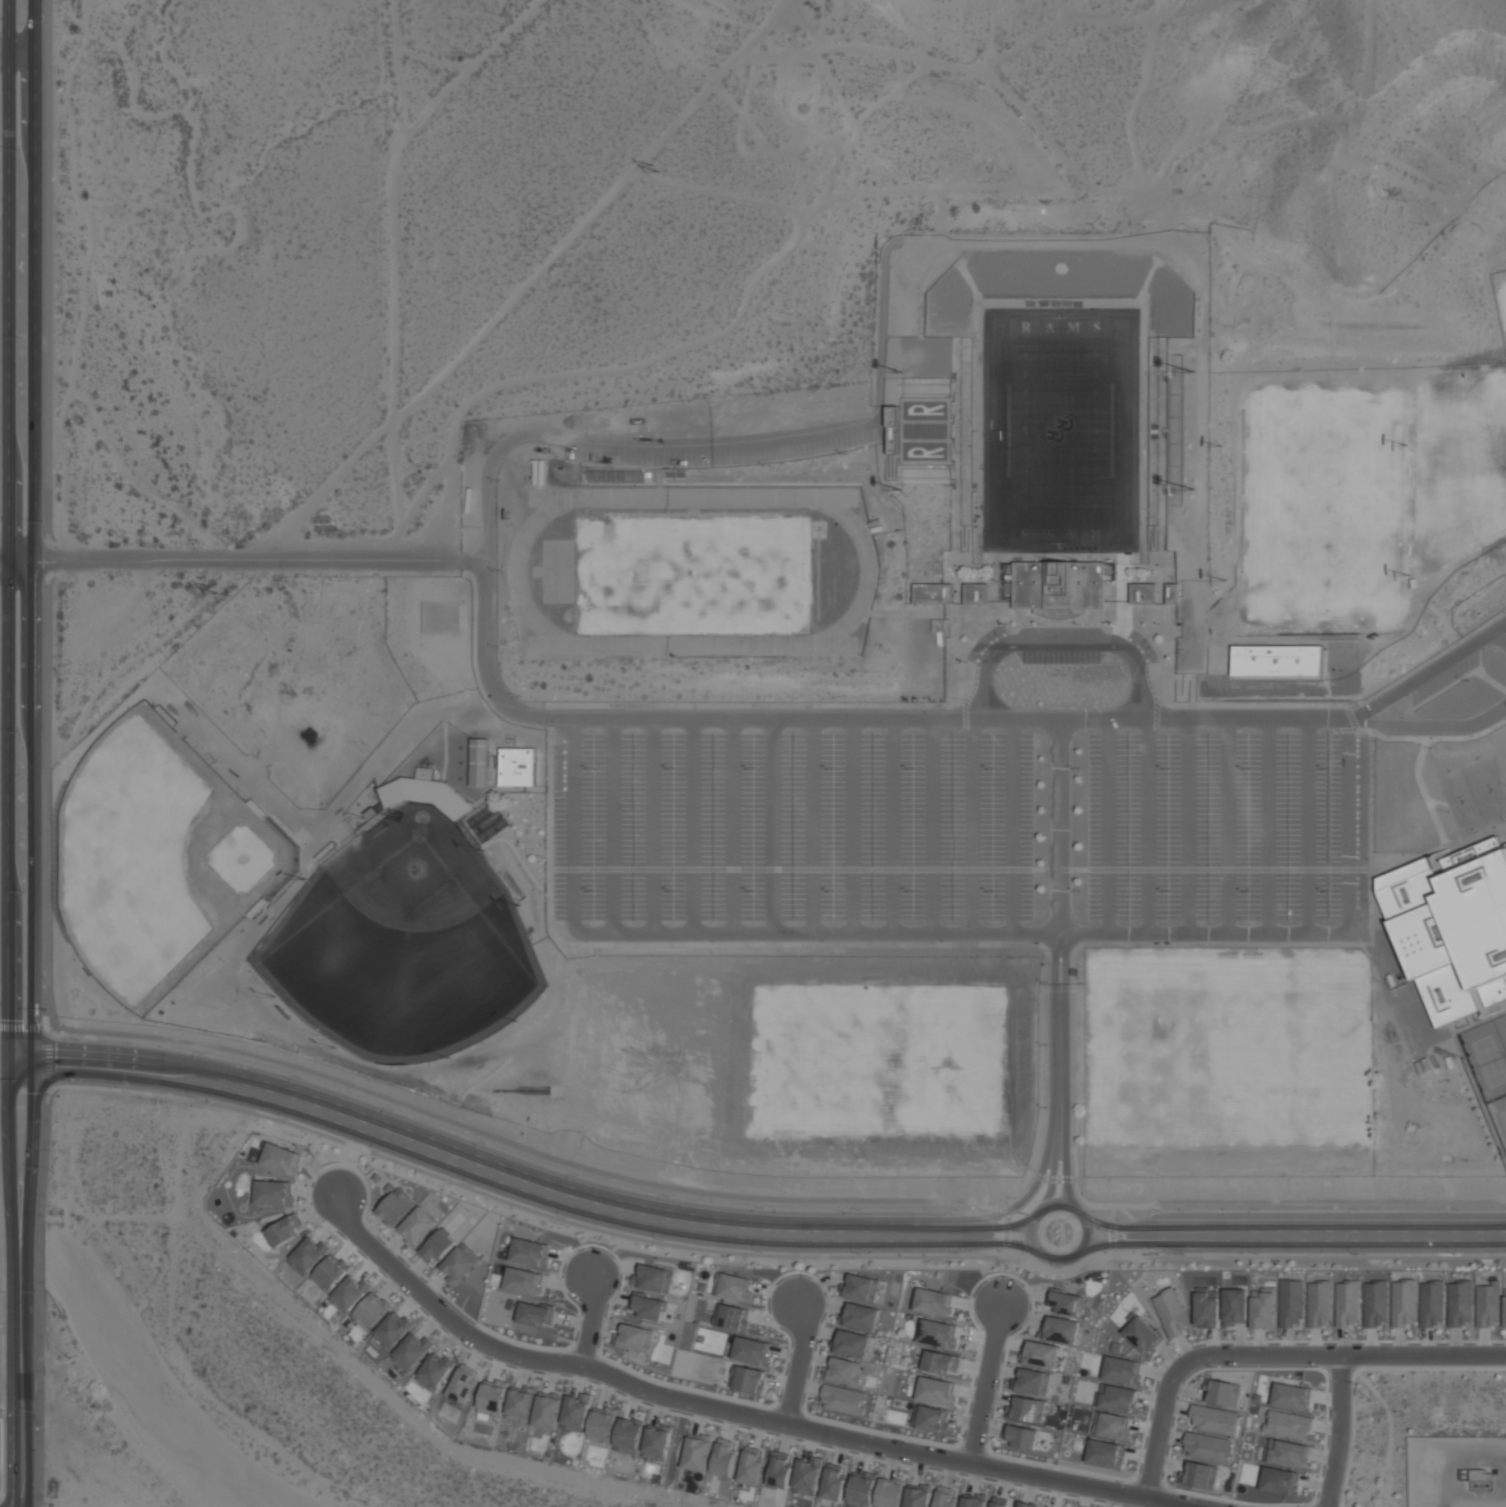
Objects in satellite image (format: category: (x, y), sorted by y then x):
road: (1, 50)
road: (17, 50)
power tower: (653, 167)
street lamp: (905, 371)
park: (1059, 430)
road: (627, 450)
street lamp: (849, 453)
street lamp: (770, 465)
street lamp: (590, 467)
street lamp: (685, 470)
street lamp: (498, 480)
street lamp: (905, 489)
park: (1322, 505)
road: (244, 561)
street lamp: (499, 570)
park: (694, 571)
track: (869, 574)
building: (1059, 585)
power tower: (214, 591)
building: (1142, 593)
street lamp: (1039, 623)
street lamp: (1077, 623)
street lamp: (1118, 623)
street lamp: (1158, 623)
street lamp: (1005, 624)
road: (1501, 634)
road: (1062, 639)
parking lot: (985, 641)
parking lot: (1139, 644)
street lamp: (498, 647)
road: (6, 654)
road: (30, 654)
building: (1277, 660)
street lamp: (966, 662)
street lamp: (1158, 662)
road: (1427, 671)
parking lot: (1445, 678)
street lamp: (1467, 680)
road: (859, 717)
road: (1428, 727)
street lamp: (1430, 747)
building: (479, 762)
building: (519, 766)
street lamp: (593, 768)
street lamp: (673, 768)
street lamp: (753, 768)
street lamp: (832, 768)
street lamp: (912, 768)
street lamp: (992, 768)
street lamp: (1078, 768)
street lamp: (1168, 768)
street lamp: (1248, 768)
street lamp: (1328, 768)
building: (428, 793)
street lamp: (1447, 811)
road: (614, 825)
road: (655, 825)
road: (695, 825)
road: (735, 825)
road: (775, 825)
road: (814, 825)
road: (1230, 825)
road: (1309, 825)
road: (855, 826)
road: (894, 826)
road: (935, 826)
road: (975, 826)
road: (1014, 826)
road: (1110, 826)
road: (1150, 826)
road: (1191, 826)
road: (1270, 826)
road: (1350, 827)
parking lot: (794, 828)
parking lot: (1231, 828)
park: (157, 858)
street lamp: (593, 890)
street lamp: (673, 890)
street lamp: (753, 890)
street lamp: (832, 890)
street lamp: (912, 890)
street lamp: (992, 890)
street lamp: (1078, 890)
street lamp: (1168, 891)
street lamp: (1247, 891)
street lamp: (1328, 891)
road: (1058, 904)
building: (1454, 928)
road: (858, 935)
park: (405, 944)
street lamp: (1076, 977)
street lamp: (1046, 982)
road: (51, 1020)
park: (1501, 1029)
traffic signals: (3, 1043)
traffic signals: (34, 1045)
street lamp: (1046, 1045)
park: (812, 1058)
park: (1485, 1059)
park: (1229, 1062)
traffic signals: (3, 1075)
traffic signals: (33, 1075)
street lamp: (1046, 1107)
park: (1499, 1117)
road: (449, 1140)
road: (1064, 1148)
road: (1051, 1149)
building: (281, 1159)
road: (474, 1174)
road: (1050, 1178)
building: (273, 1193)
street lamp: (668, 1197)
road: (1280, 1201)
building: (395, 1207)
road: (1013, 1207)
street lamp: (762, 1208)
street lamp: (859, 1210)
street lamp: (959, 1210)
street lamp: (1088, 1210)
street lamp: (1158, 1210)
street lamp: (1258, 1210)
street lamp: (1358, 1210)
street lamp: (1457, 1210)
road: (967, 1212)
road: (1128, 1216)
road: (924, 1220)
building: (417, 1226)
road: (966, 1227)
road: (1112, 1227)
road: (1322, 1227)
road: (1004, 1228)
building: (285, 1230)
road: (1109, 1231)
river: (23, 1232)
street lamp: (661, 1240)
road: (993, 1243)
road: (1121, 1244)
road: (1333, 1245)
building: (437, 1246)
road: (1145, 1249)
road: (971, 1250)
street lamp: (761, 1252)
building: (530, 1253)
road: (1077, 1253)
street lamp: (860, 1254)
street lamp: (959, 1254)
street lamp: (1158, 1254)
street lamp: (1258, 1254)
street lamp: (1358, 1254)
street lamp: (1456, 1254)
building: (308, 1256)
road: (37, 1263)
building: (459, 1263)
street lamp: (1060, 1268)
road: (1060, 1271)
building: (330, 1272)
building: (653, 1278)
building: (523, 1281)
building: (732, 1287)
building: (860, 1287)
building: (349, 1294)
building: (933, 1302)
building: (1065, 1302)
building: (1290, 1303)
building: (1403, 1303)
building: (1319, 1304)
building: (1347, 1304)
building: (1374, 1304)
building: (1431, 1304)
building: (1459, 1304)
building: (1487, 1305)
building: (647, 1306)
building: (1206, 1307)
building: (1234, 1307)
building: (1262, 1308)
building: (1505, 1309)
building: (371, 1312)
building: (1170, 1312)
building: (535, 1313)
building: (860, 1316)
building: (731, 1317)
road: (591, 1322)
building: (1060, 1330)
building: (392, 1331)
building: (937, 1333)
building: (1141, 1335)
building: (633, 1338)
building: (851, 1343)
building: (752, 1351)
building: (412, 1352)
building: (1039, 1354)
road: (1247, 1355)
building: (940, 1362)
road: (798, 1363)
street lamp: (1211, 1366)
building: (1122, 1370)
building: (435, 1371)
building: (843, 1371)
road: (1, 1372)
river: (158, 1372)
building: (747, 1379)
building: (1031, 1382)
building: (463, 1383)
road: (985, 1384)
building: (936, 1391)
building: (1221, 1393)
building: (492, 1397)
building: (1291, 1397)
building: (1116, 1398)
building: (843, 1400)
building: (520, 1404)
road: (19, 1407)
road: (707, 1407)
building: (547, 1410)
building: (1026, 1410)
building: (576, 1412)
building: (930, 1419)
building: (1213, 1419)
building: (1287, 1424)
building: (602, 1425)
building: (1111, 1425)
road: (1339, 1431)
building: (628, 1435)
building: (1021, 1436)
building: (657, 1442)
building: (1206, 1447)
building: (697, 1452)
building: (1106, 1453)
building: (1288, 1454)
building: (723, 1458)
building: (751, 1466)
building: (780, 1470)
building: (1198, 1474)
building: (807, 1476)
building: (1478, 1479)
building: (1279, 1480)
building: (833, 1482)
building: (862, 1489)
building: (889, 1492)
building: (917, 1495)
building: (944, 1497)
building: (974, 1500)
building: (999, 1502)
building: (1028, 1505)
street lamp: (1302, 1506)

